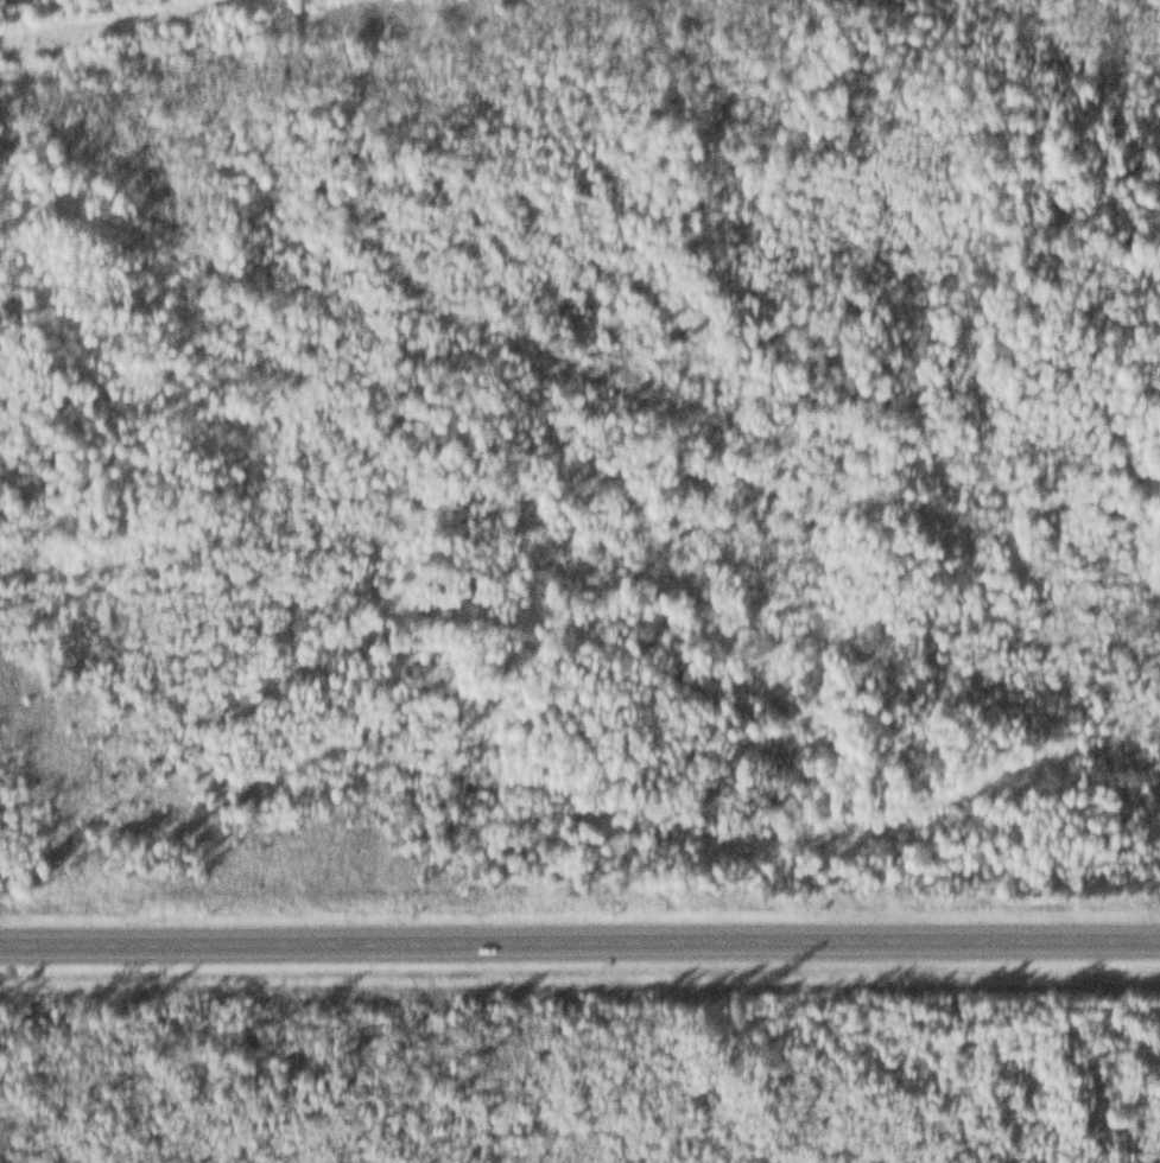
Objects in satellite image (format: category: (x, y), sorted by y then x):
road: (579, 933)

